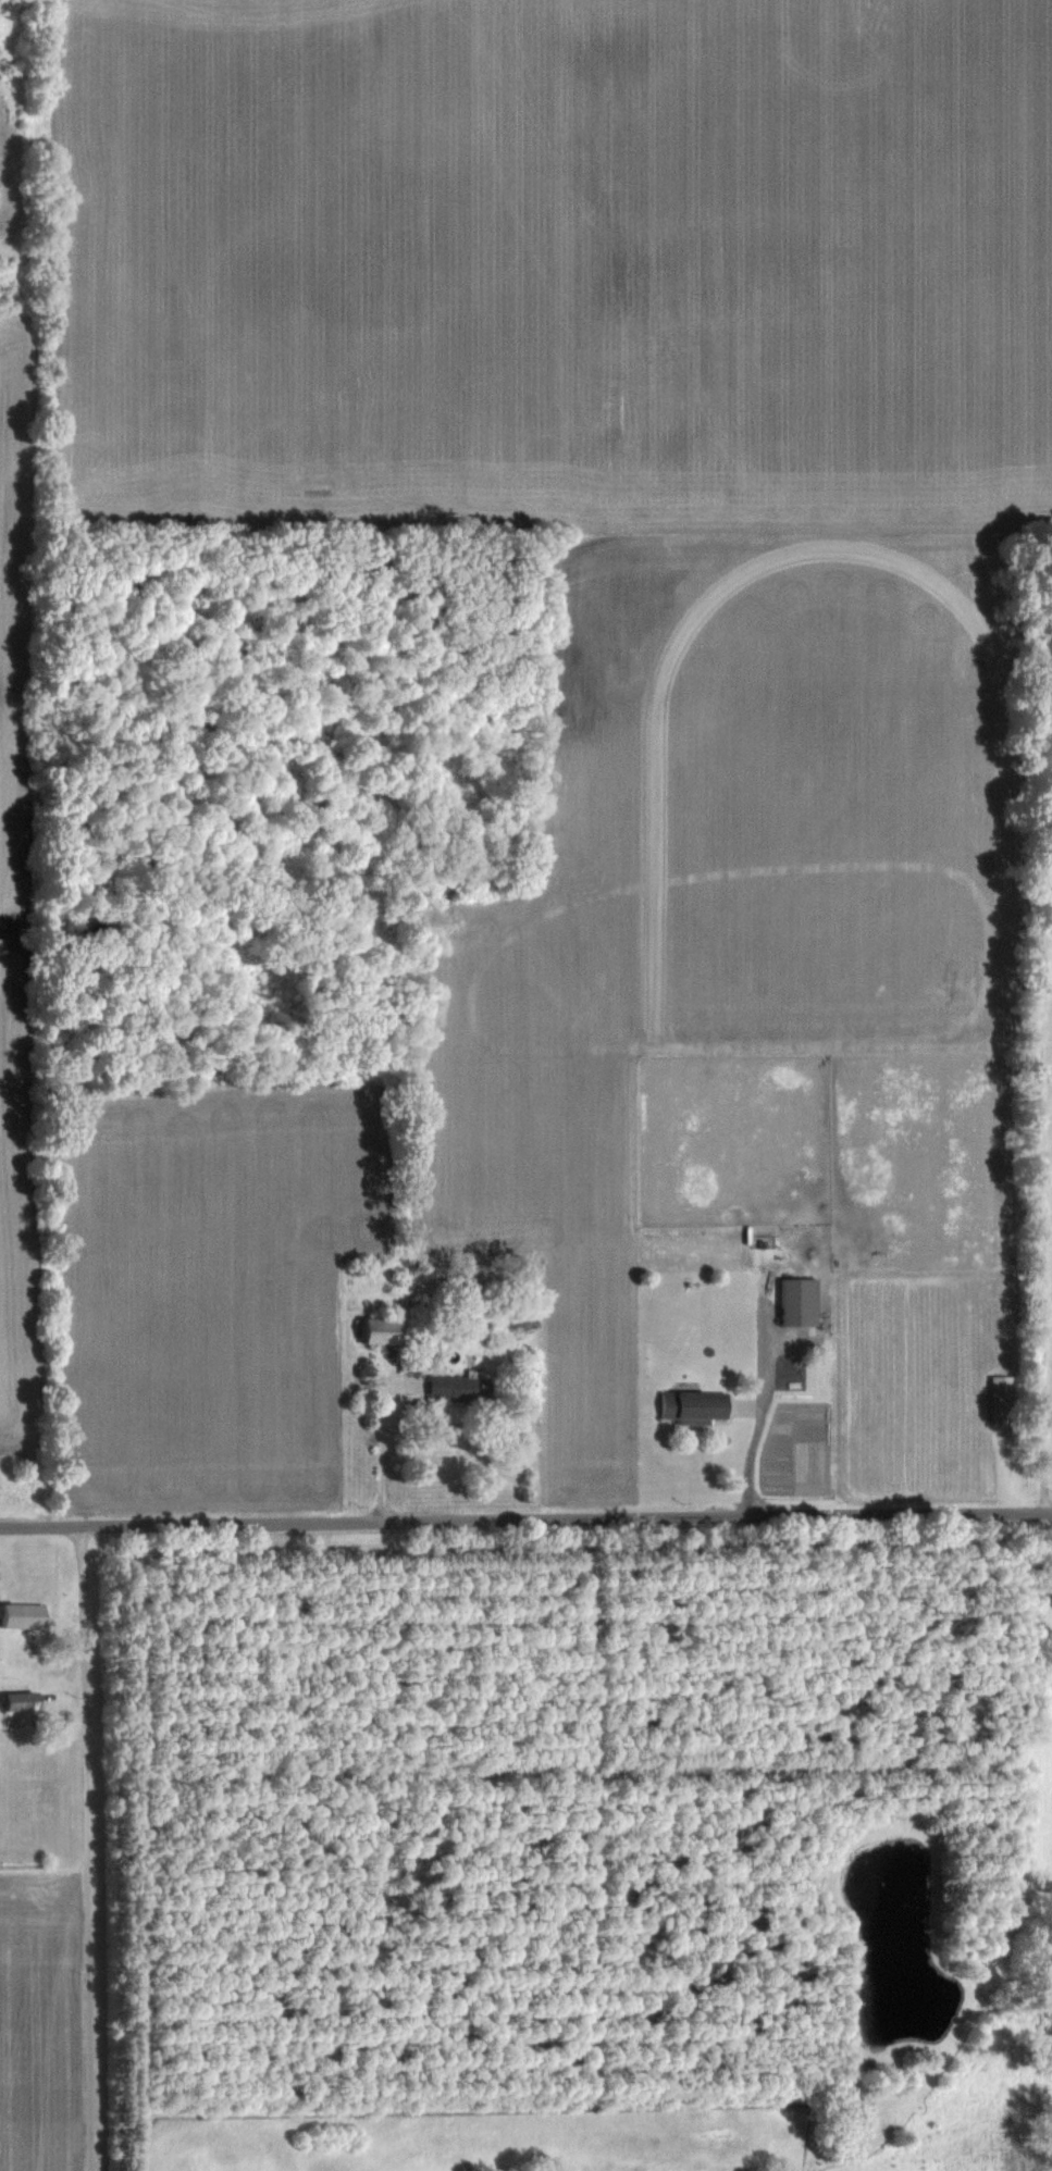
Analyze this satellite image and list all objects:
building: (796, 1301)
building: (374, 1329)
building: (456, 1387)
building: (692, 1404)
road: (378, 1448)
road: (525, 1518)
building: (13, 1614)
building: (17, 1700)
road: (69, 1848)
building: (857, 2118)

